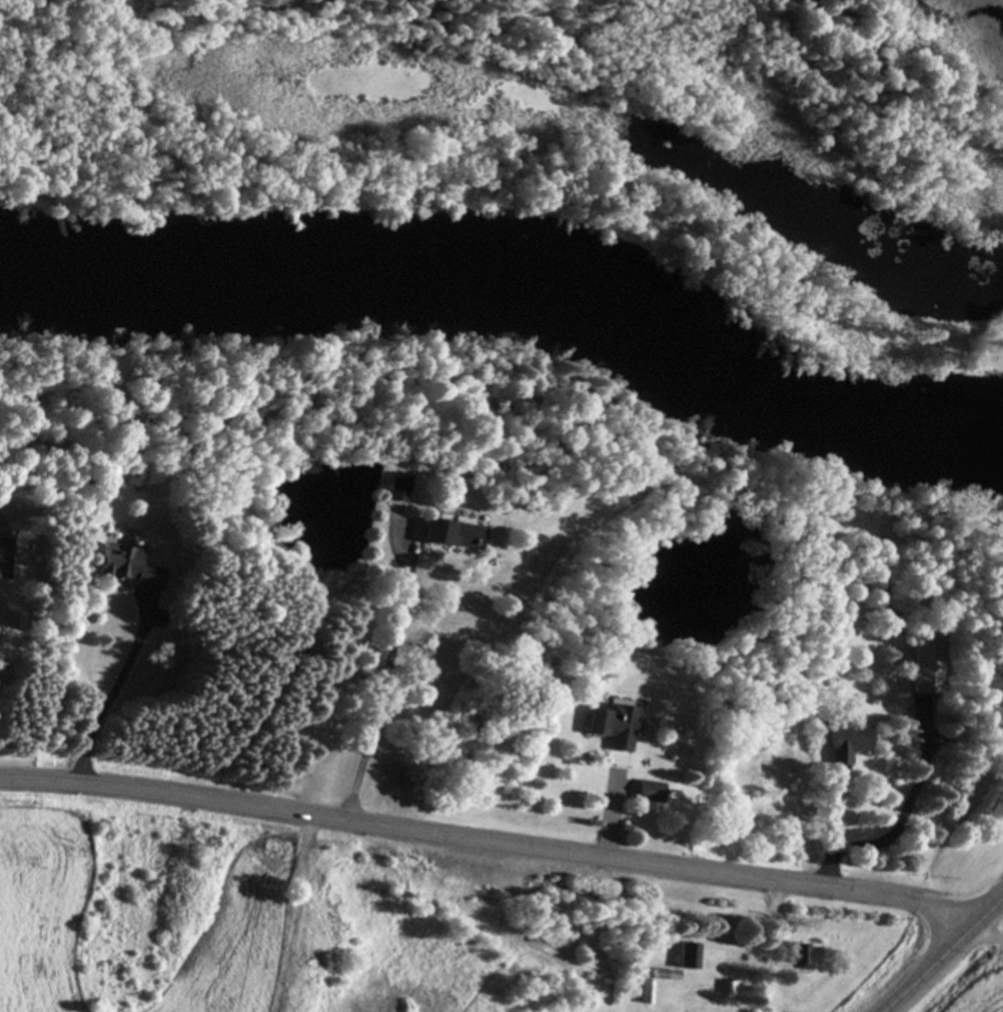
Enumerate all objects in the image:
river: (519, 283)
building: (397, 488)
building: (452, 534)
building: (4, 554)
building: (128, 568)
road: (0, 623)
building: (928, 664)
road: (389, 682)
road: (114, 696)
building: (613, 726)
building: (845, 743)
building: (651, 792)
road: (913, 810)
road: (611, 816)
road: (833, 835)
road: (488, 839)
road: (779, 904)
road: (986, 935)
road: (942, 954)
building: (688, 956)
building: (804, 956)
building: (646, 992)

